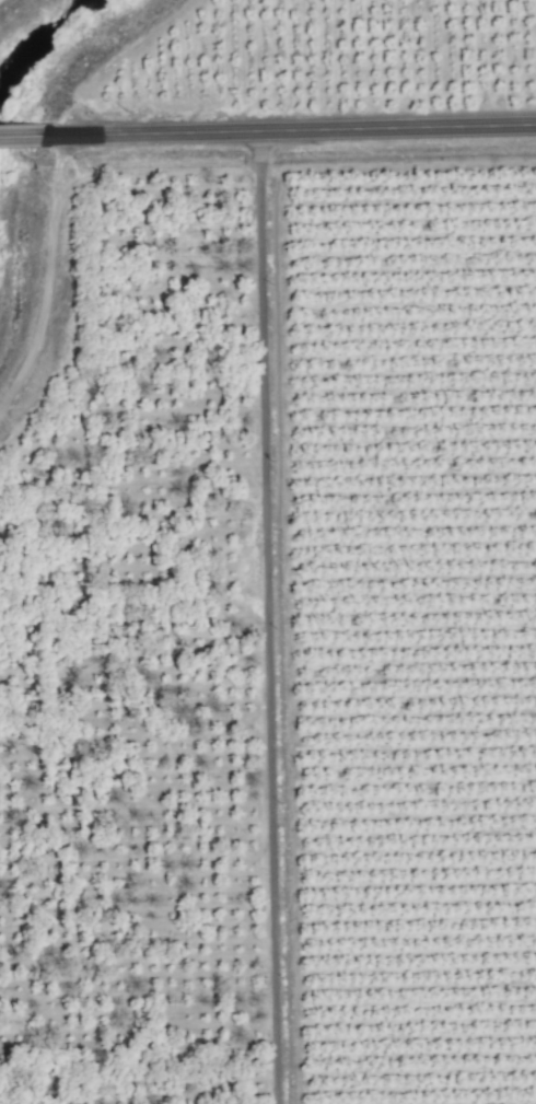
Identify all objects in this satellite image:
road: (293, 135)
road: (25, 138)
road: (49, 280)
road: (260, 619)

